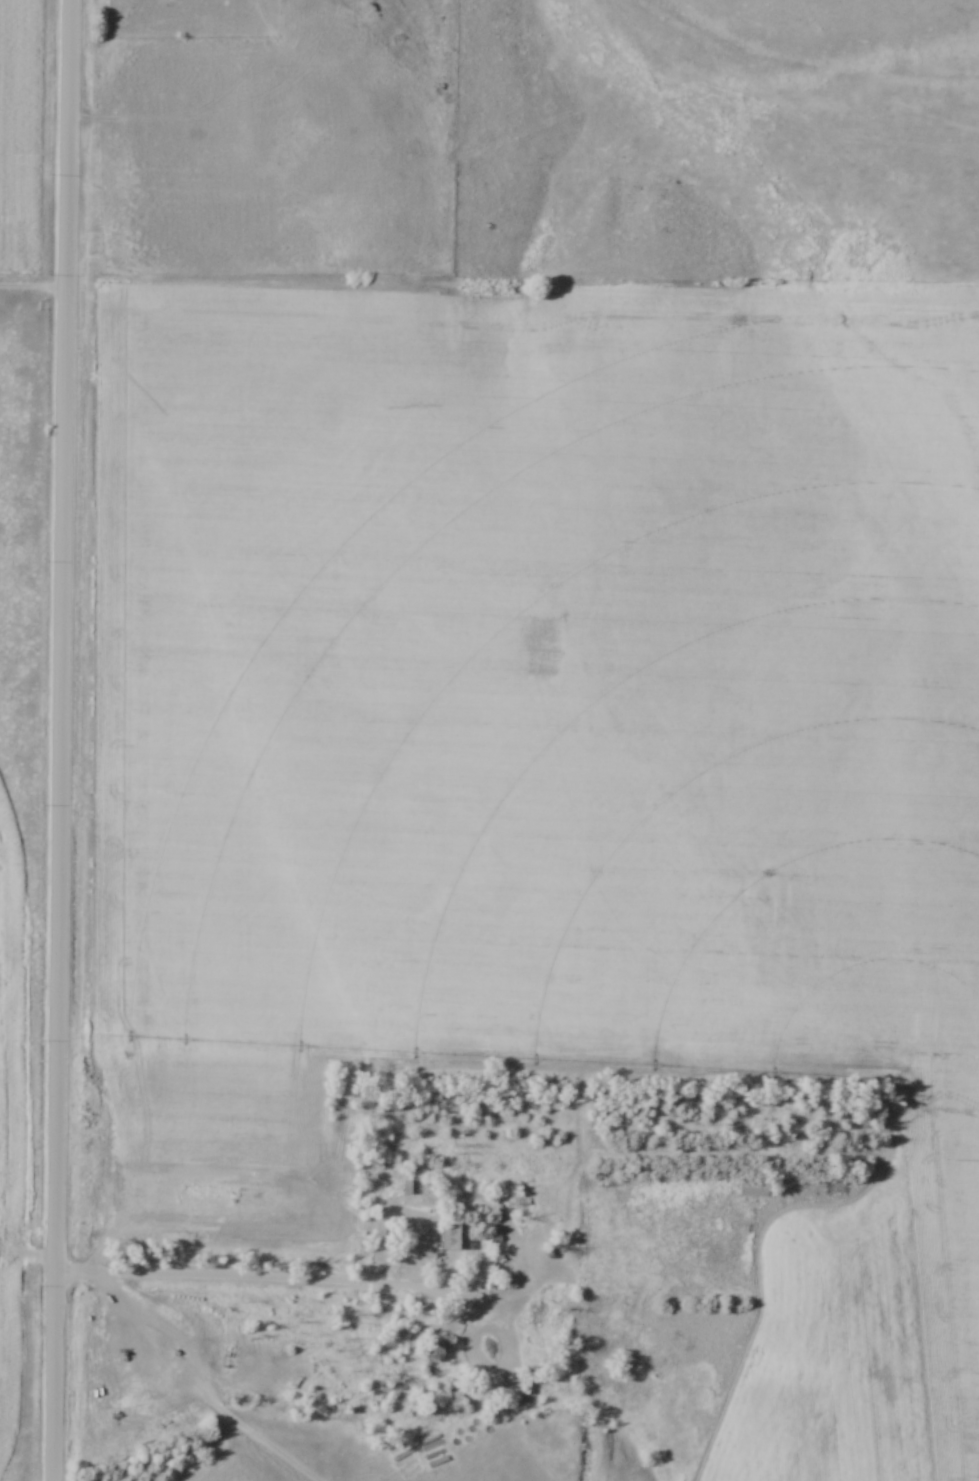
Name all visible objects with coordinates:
road: (62, 740)
building: (410, 1187)
building: (755, 1189)
building: (455, 1239)
road: (285, 1276)
building: (440, 1352)
building: (528, 1386)

